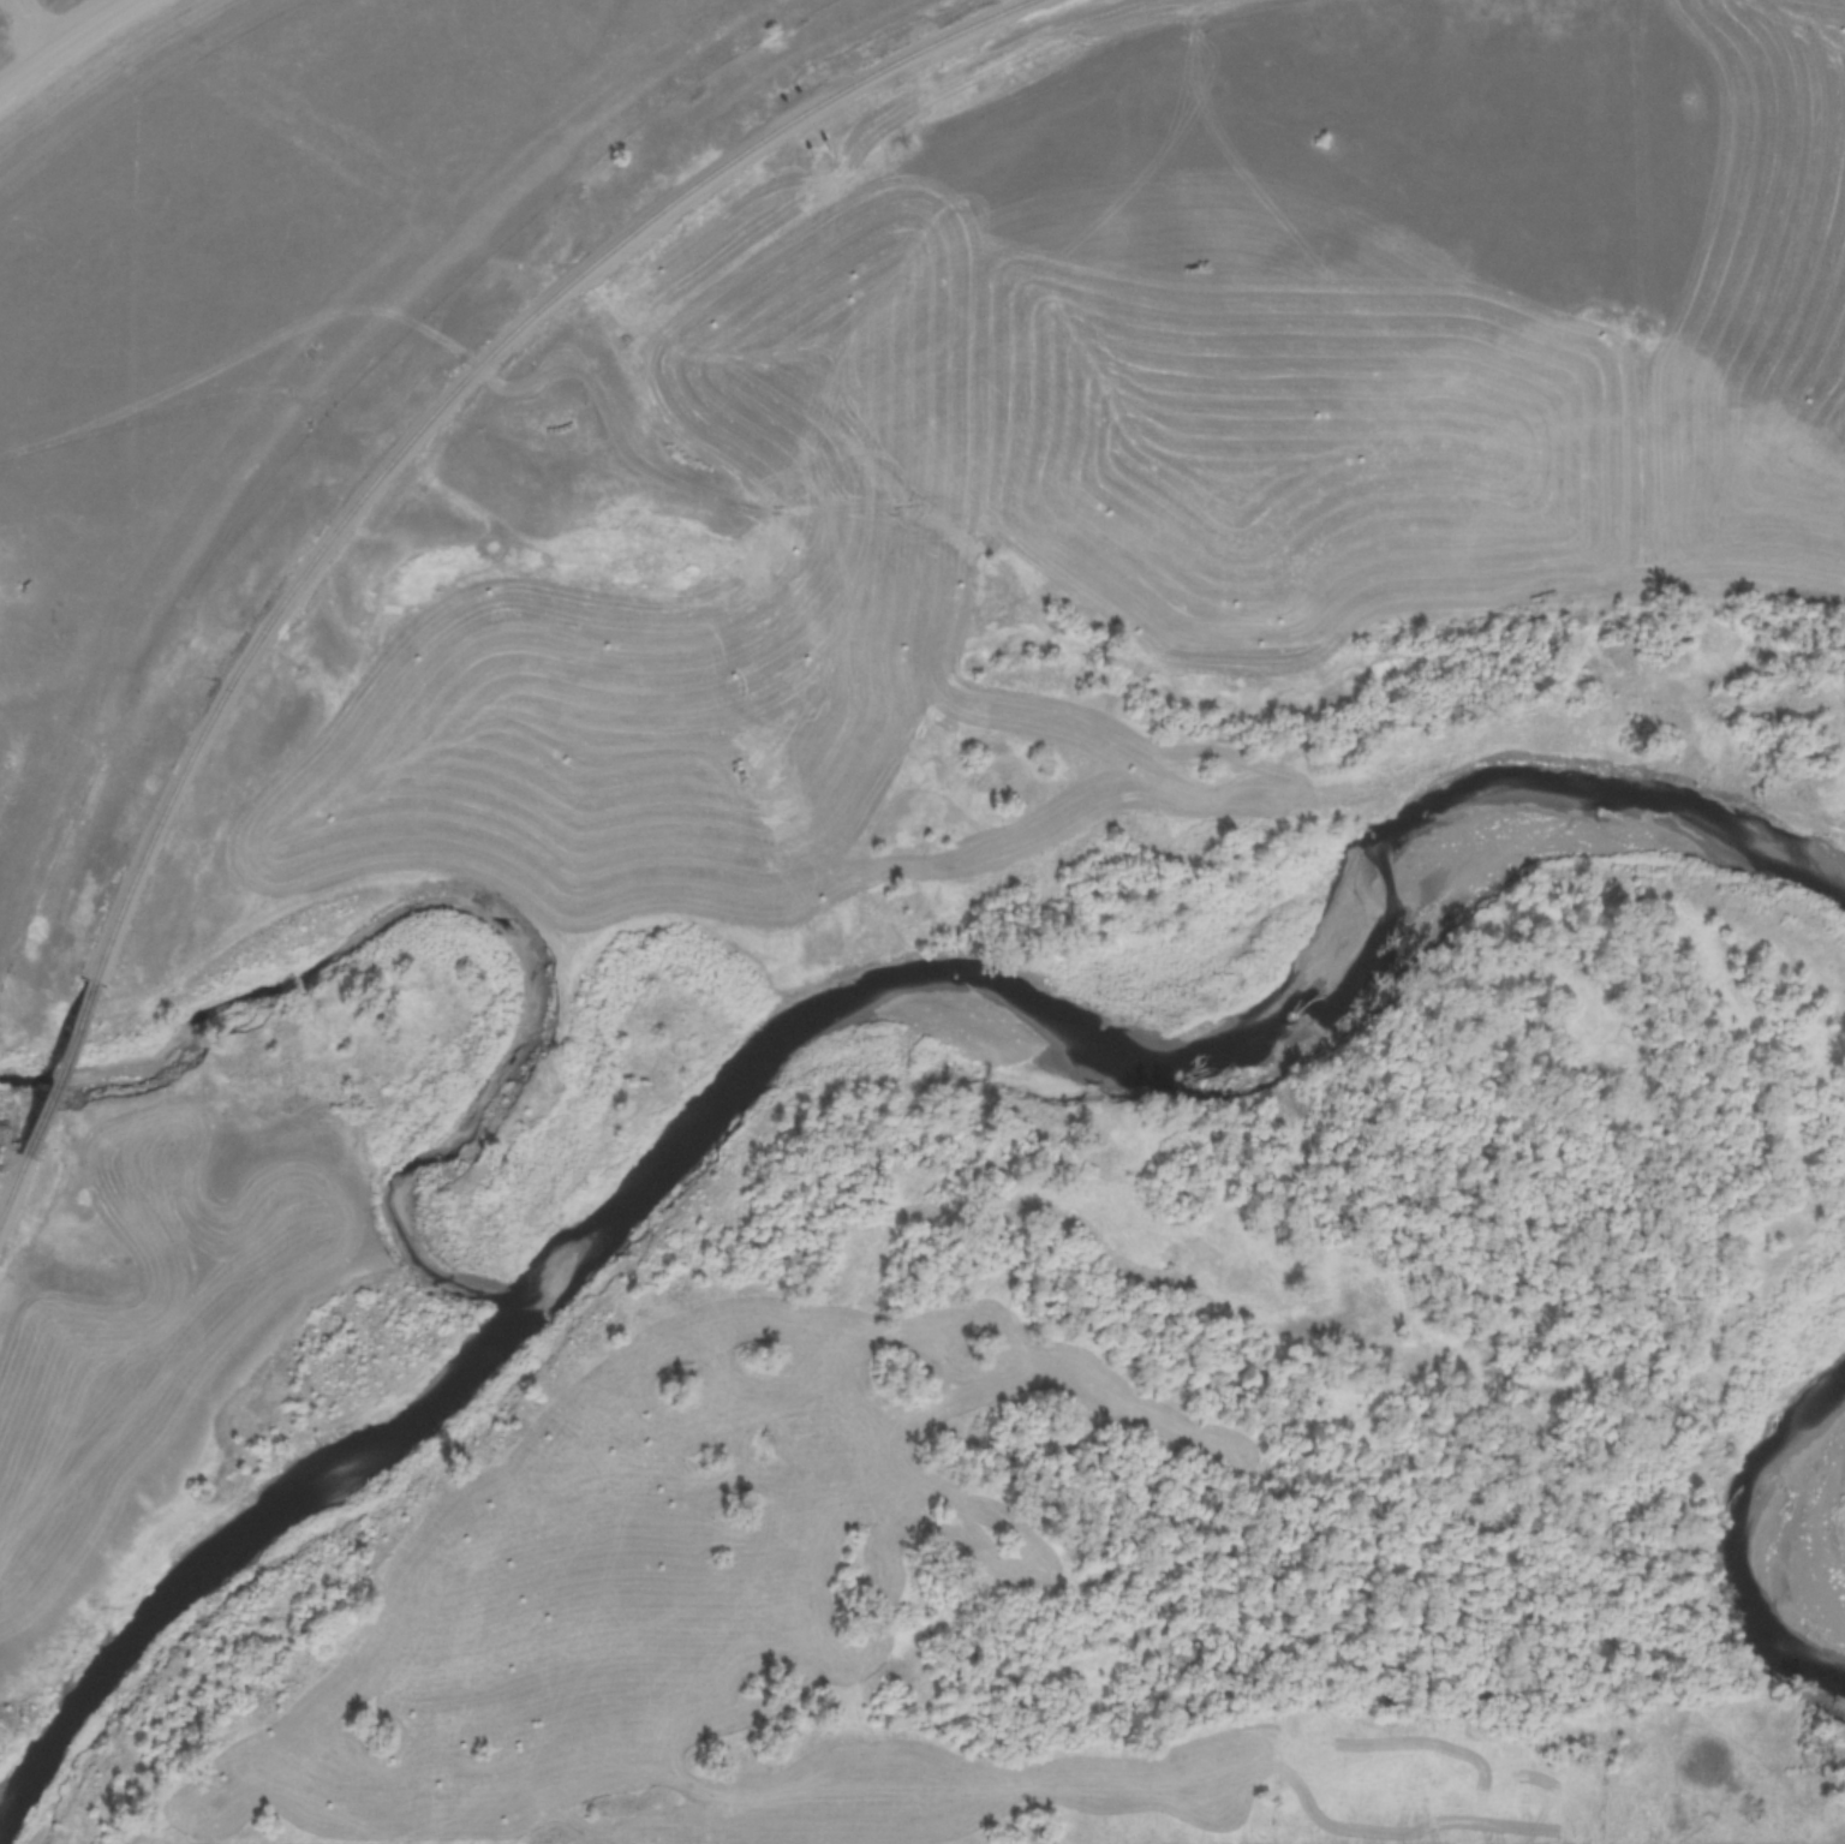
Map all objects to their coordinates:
road: (48, 18)
road: (64, 41)
railway: (450, 387)
river: (1308, 954)
railway: (54, 1069)
railway: (10, 1180)
river: (380, 1442)
river: (1744, 1518)

